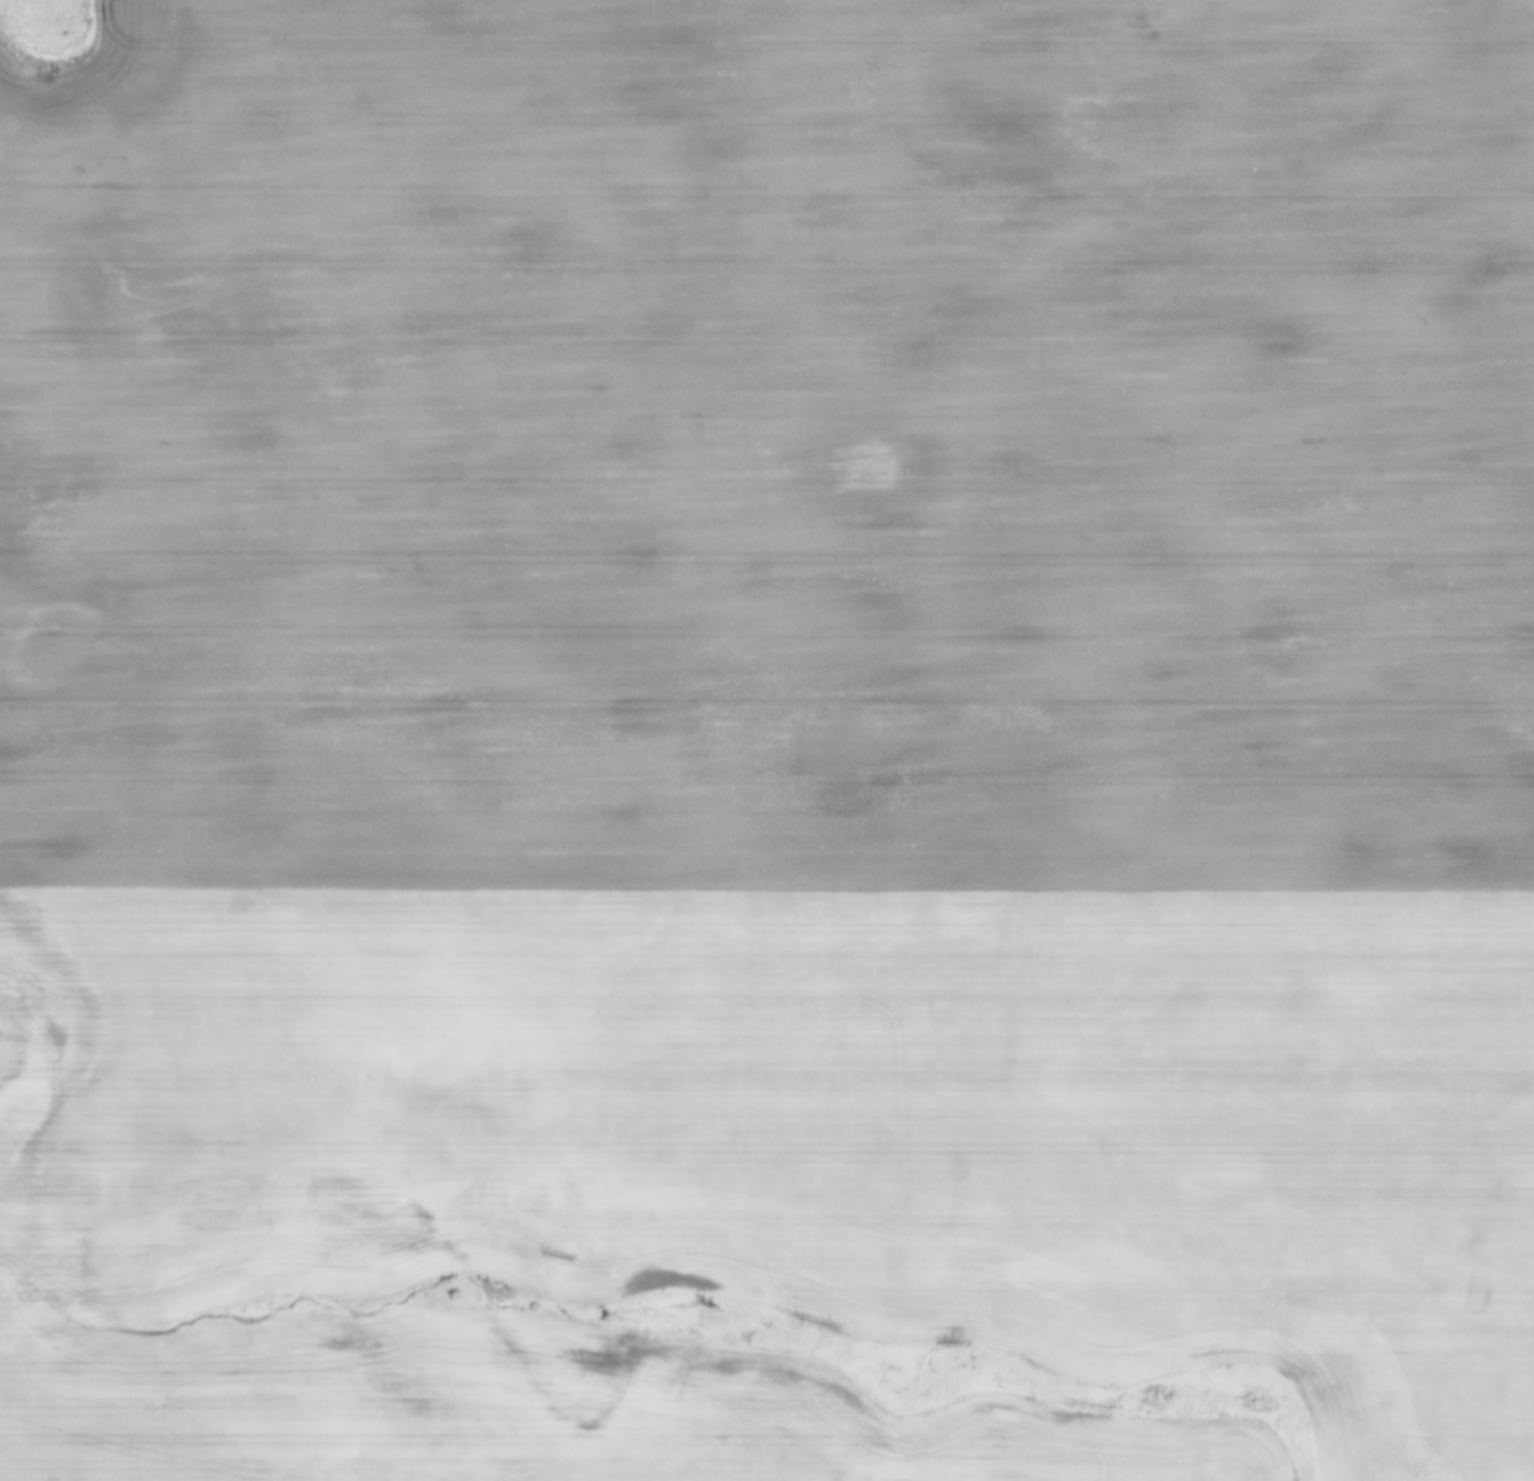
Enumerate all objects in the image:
road: (708, 562)

